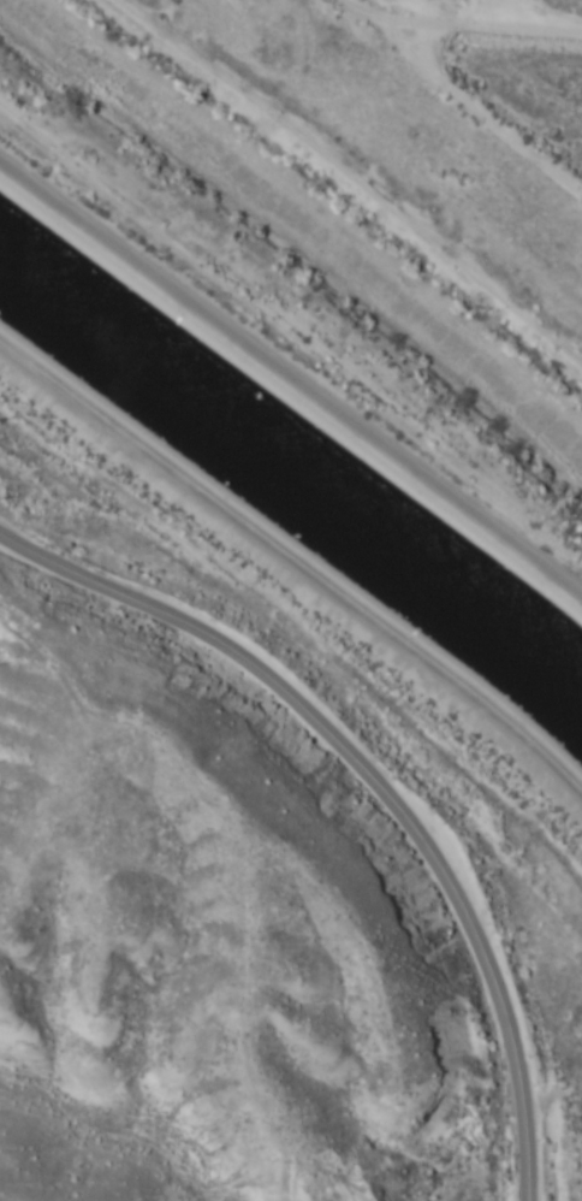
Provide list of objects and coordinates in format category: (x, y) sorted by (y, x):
road: (479, 16)
road: (473, 87)
road: (292, 372)
road: (296, 591)
road: (372, 783)

